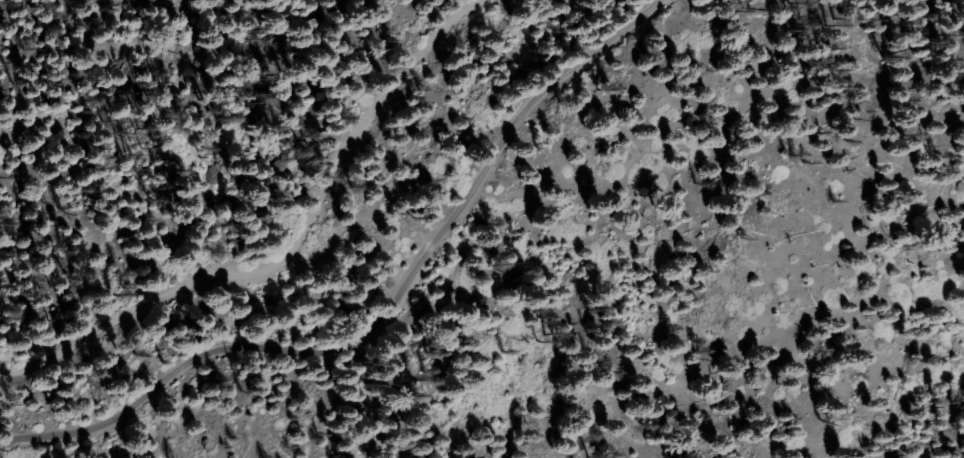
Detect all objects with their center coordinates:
road: (287, 248)
road: (384, 314)

